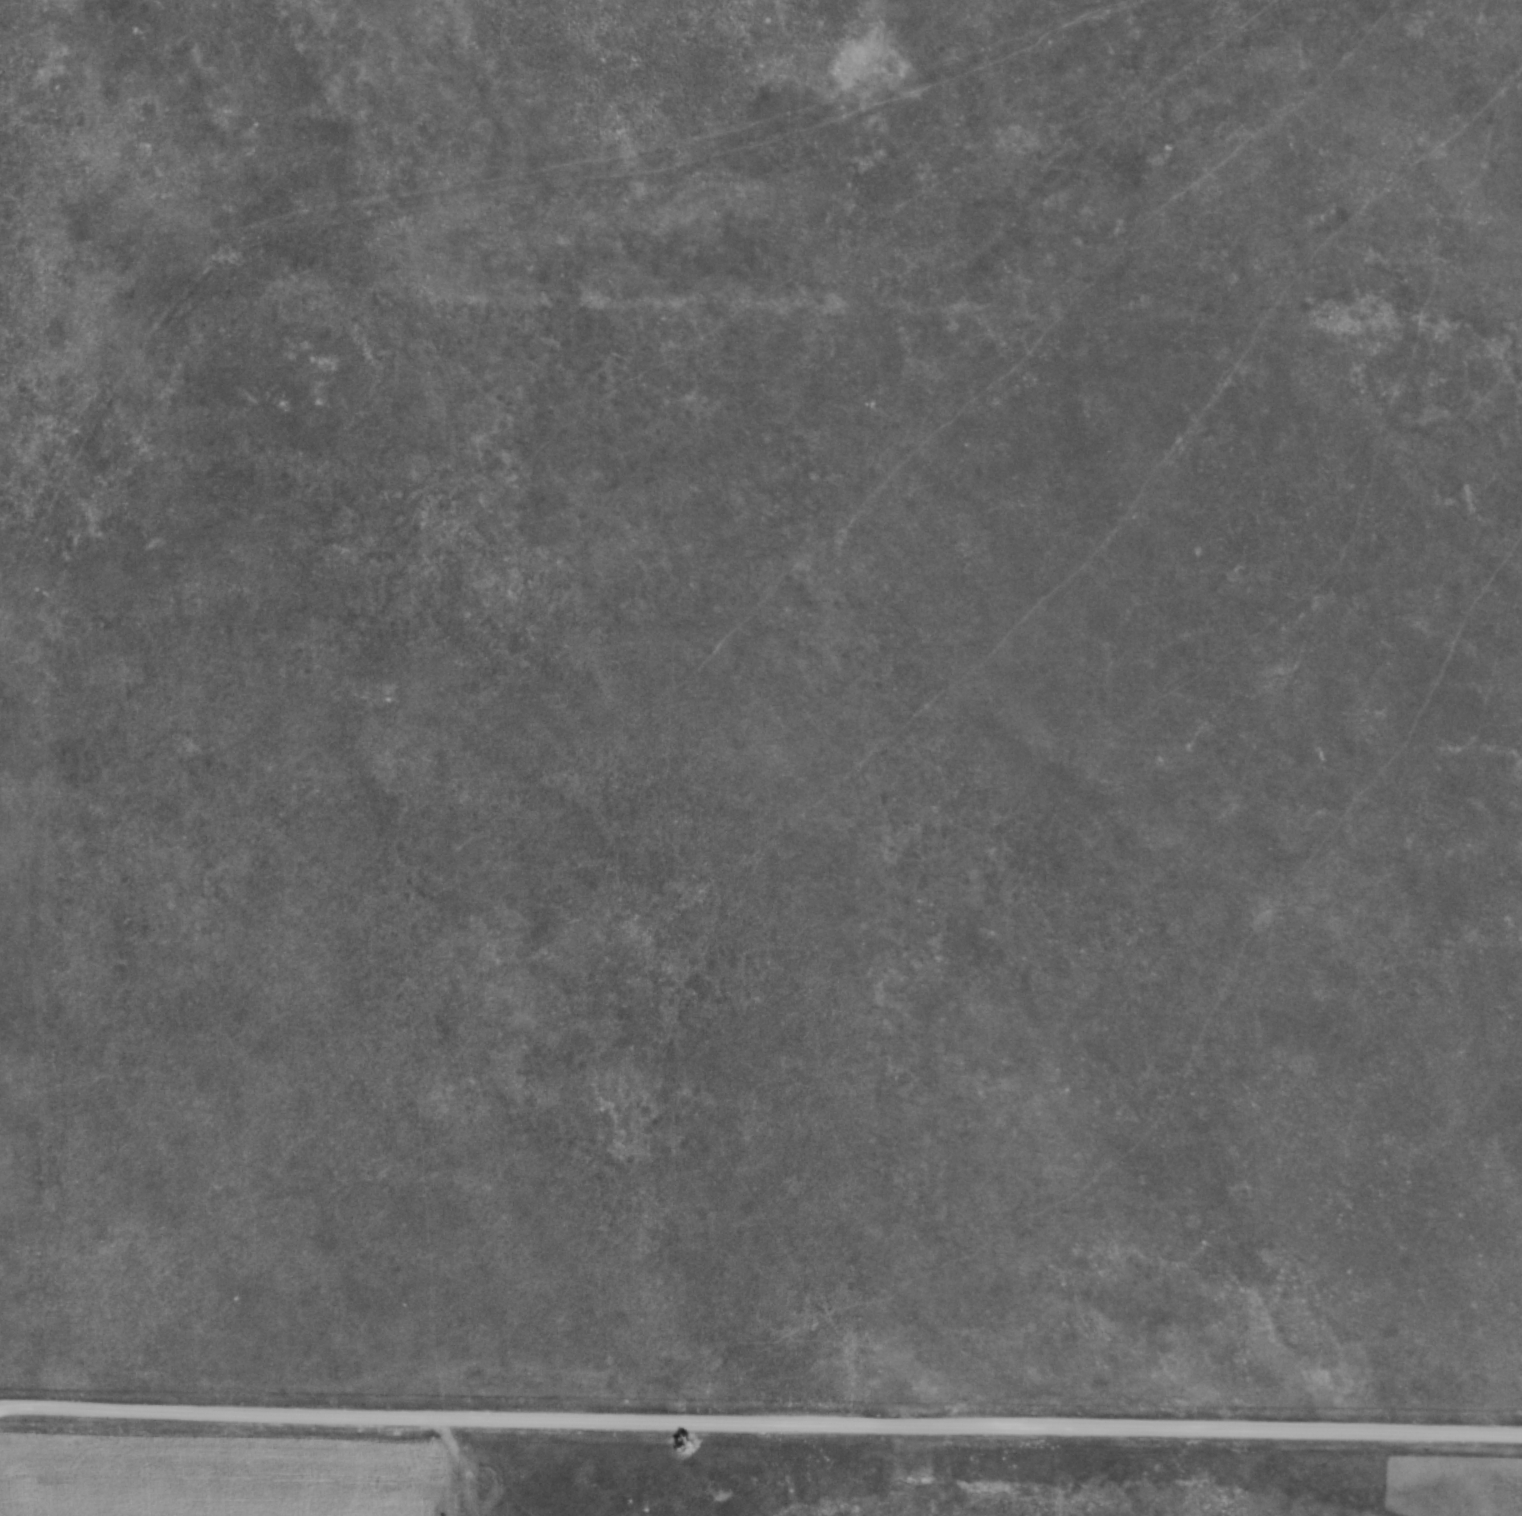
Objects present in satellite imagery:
road: (760, 1425)
crop: (208, 1474)
crop: (1084, 1499)

